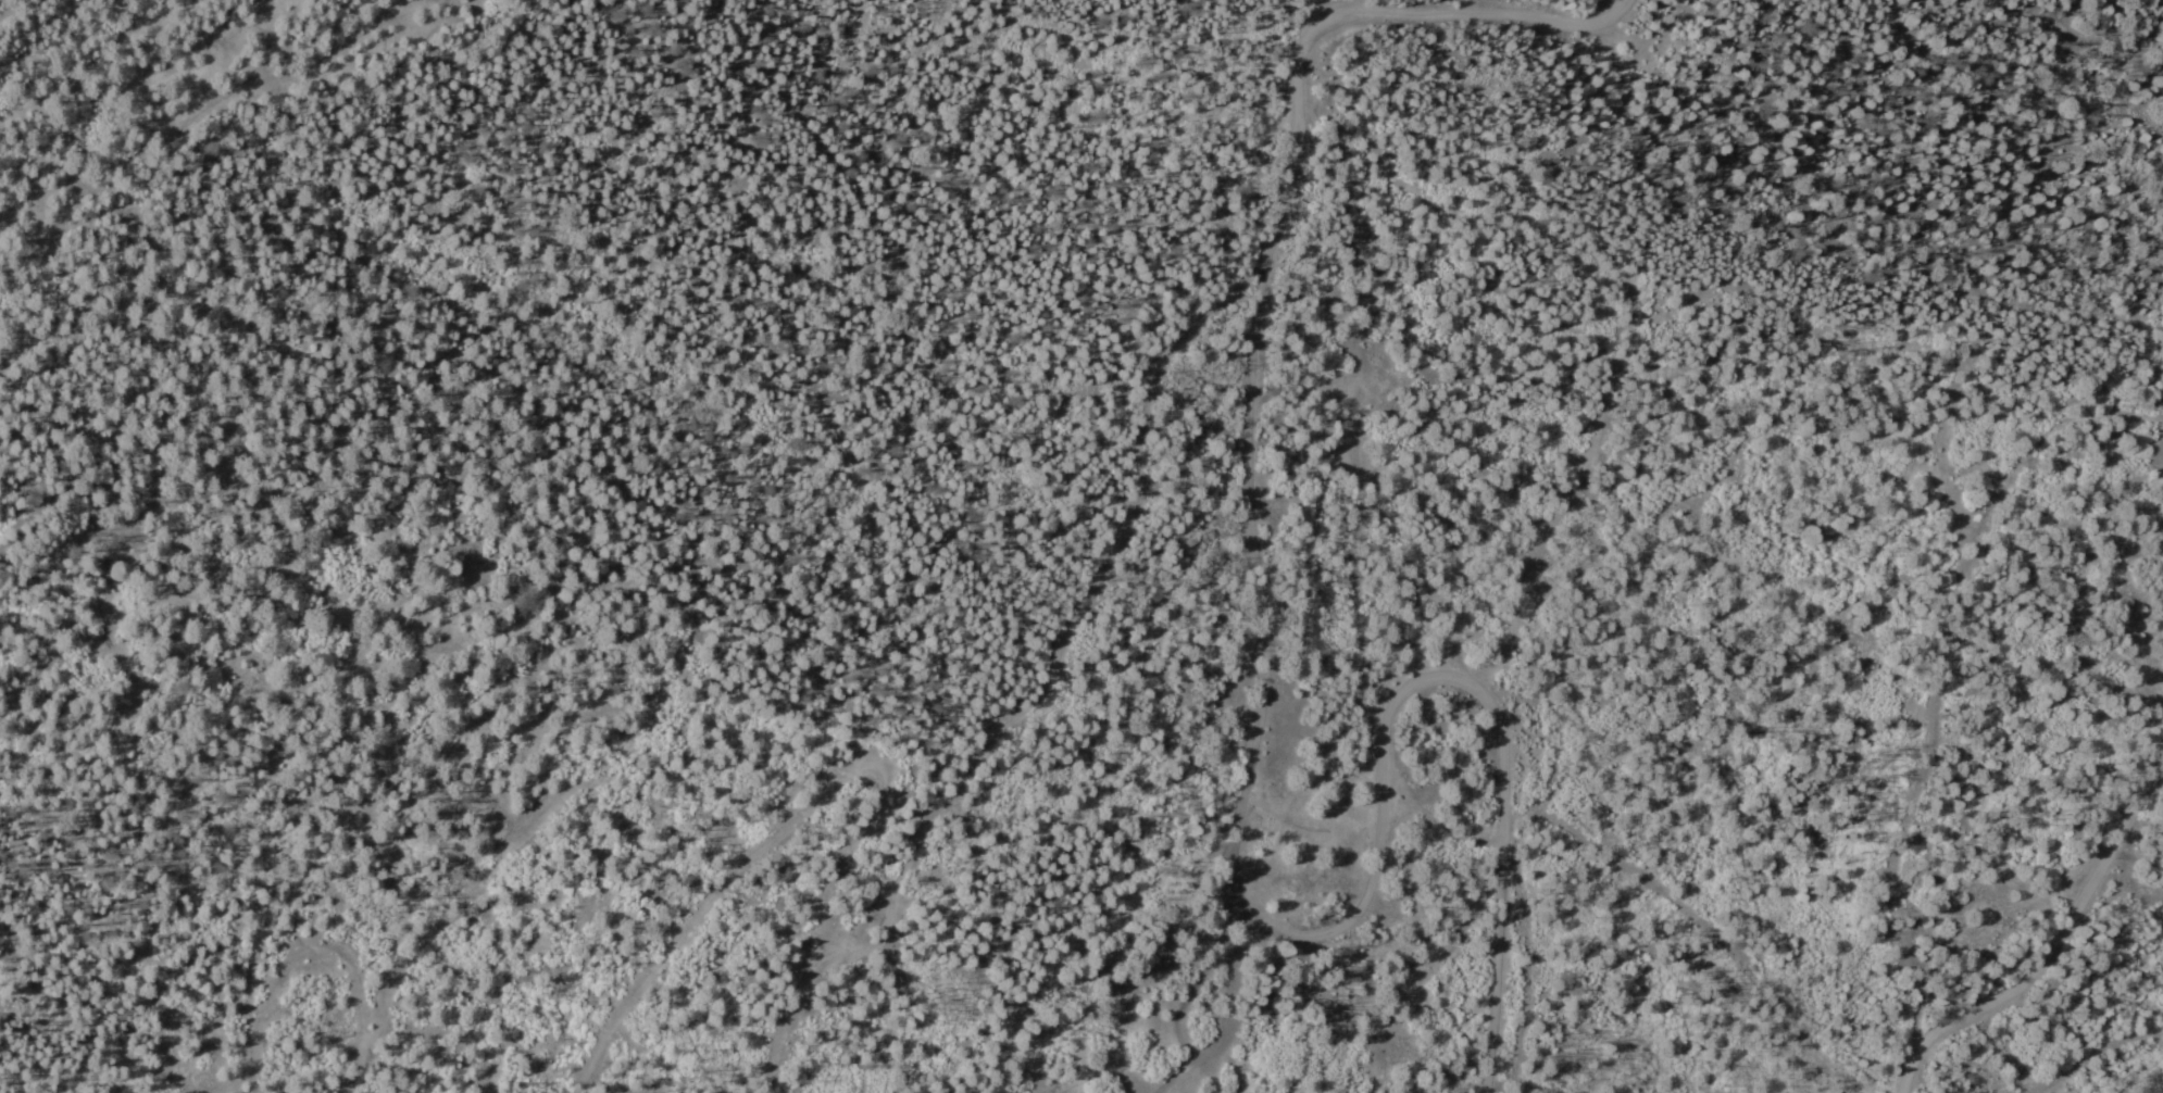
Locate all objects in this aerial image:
road: (1247, 715)
road: (2056, 953)

